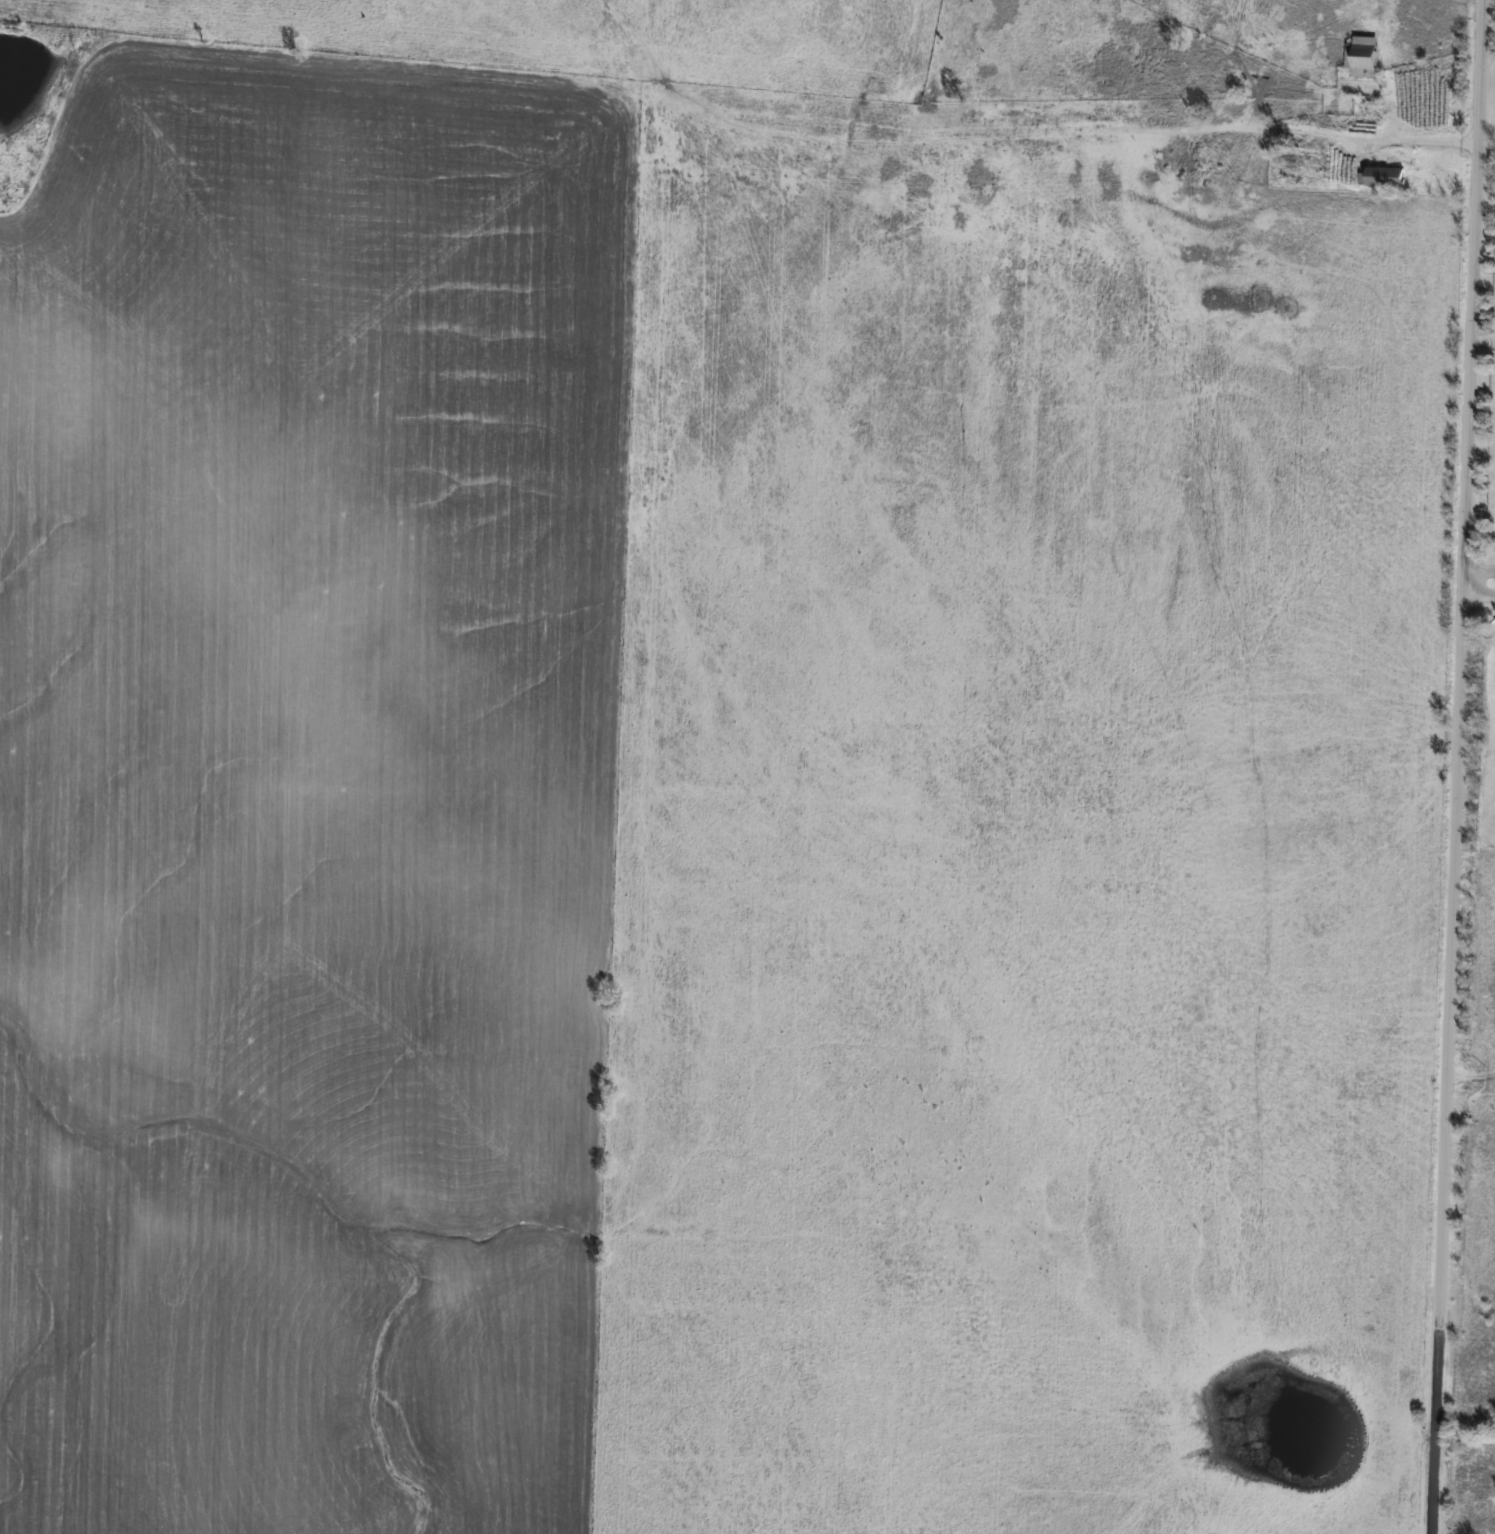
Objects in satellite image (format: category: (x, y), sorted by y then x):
building: (1362, 56)
road: (1387, 140)
building: (1304, 165)
building: (1386, 176)
road: (1478, 580)
road: (1455, 766)

